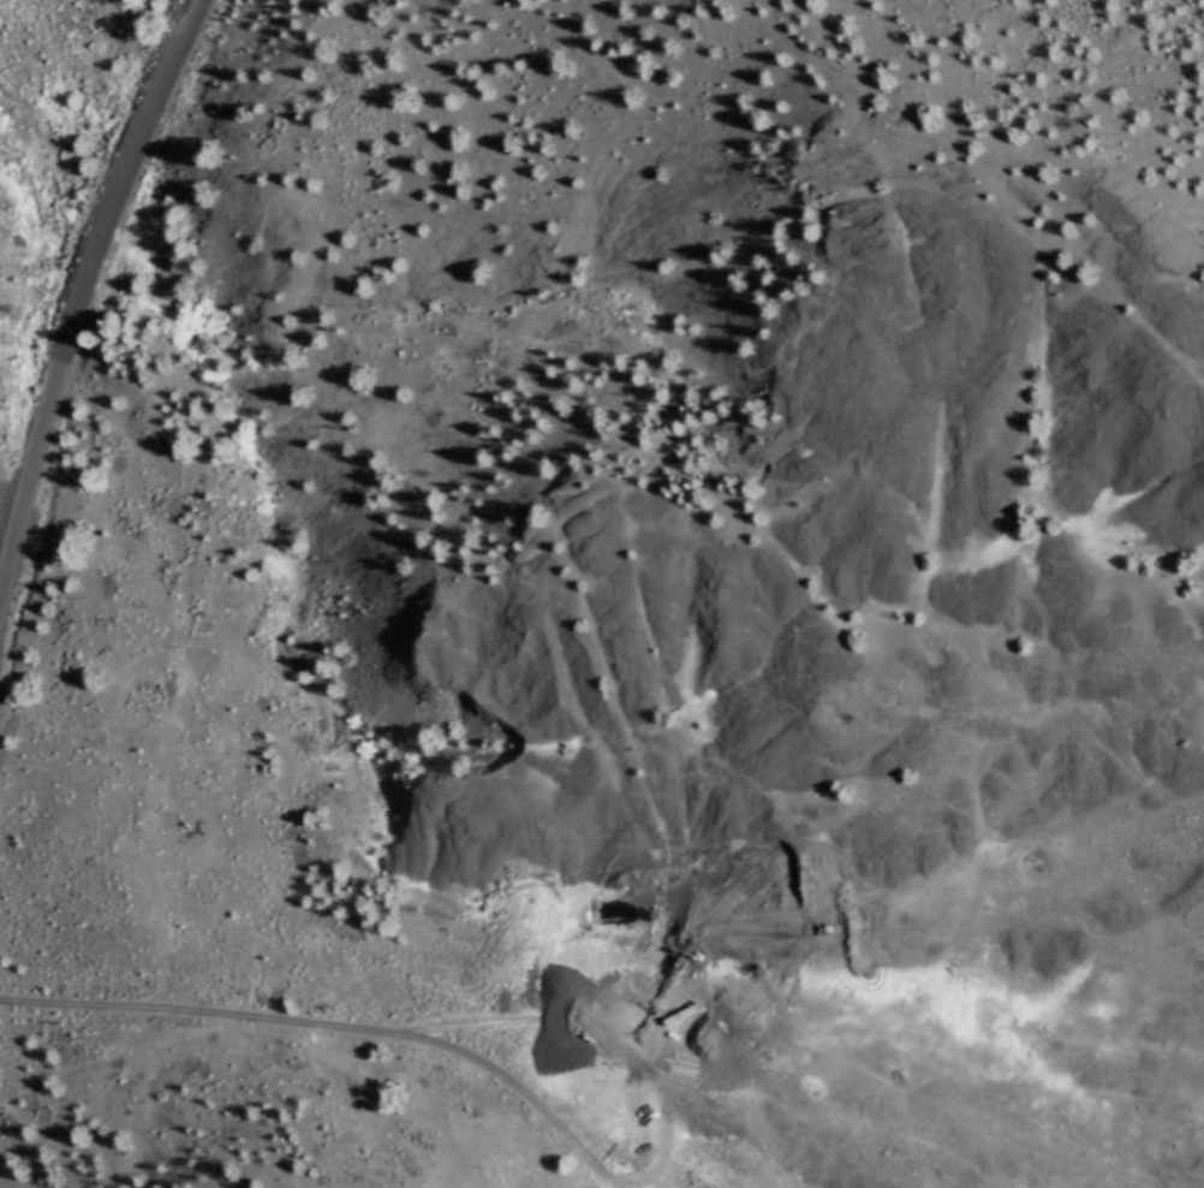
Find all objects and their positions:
road: (1092, 4)
road: (78, 271)

